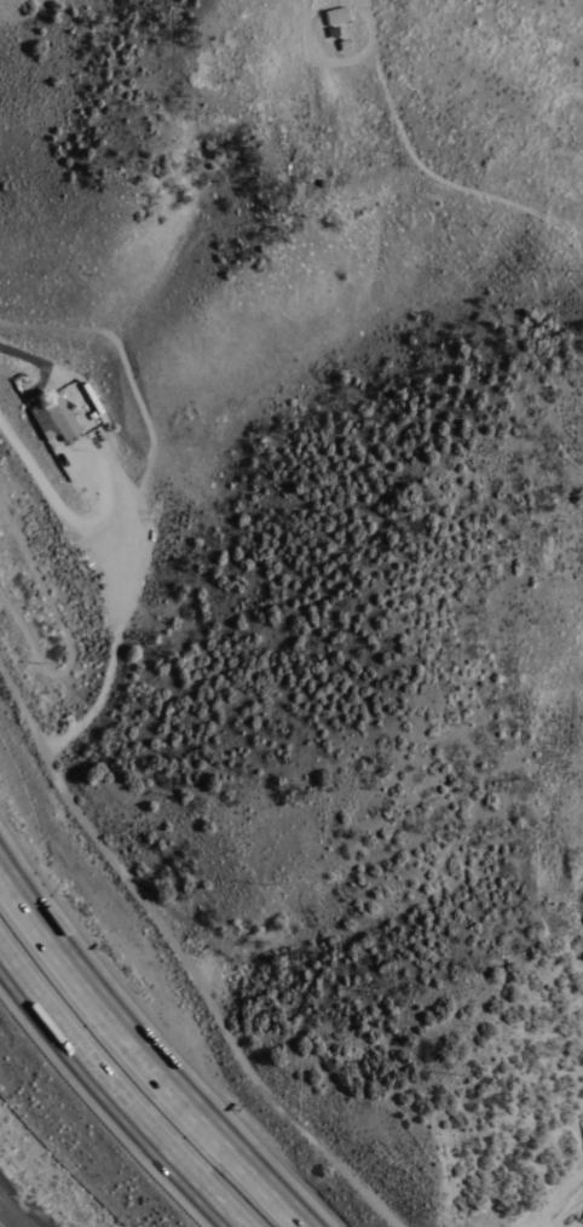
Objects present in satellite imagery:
building: (60, 415)
building: (42, 420)
road: (181, 961)
road: (144, 1054)
road: (112, 1095)
road: (556, 1203)
road: (8, 1216)

